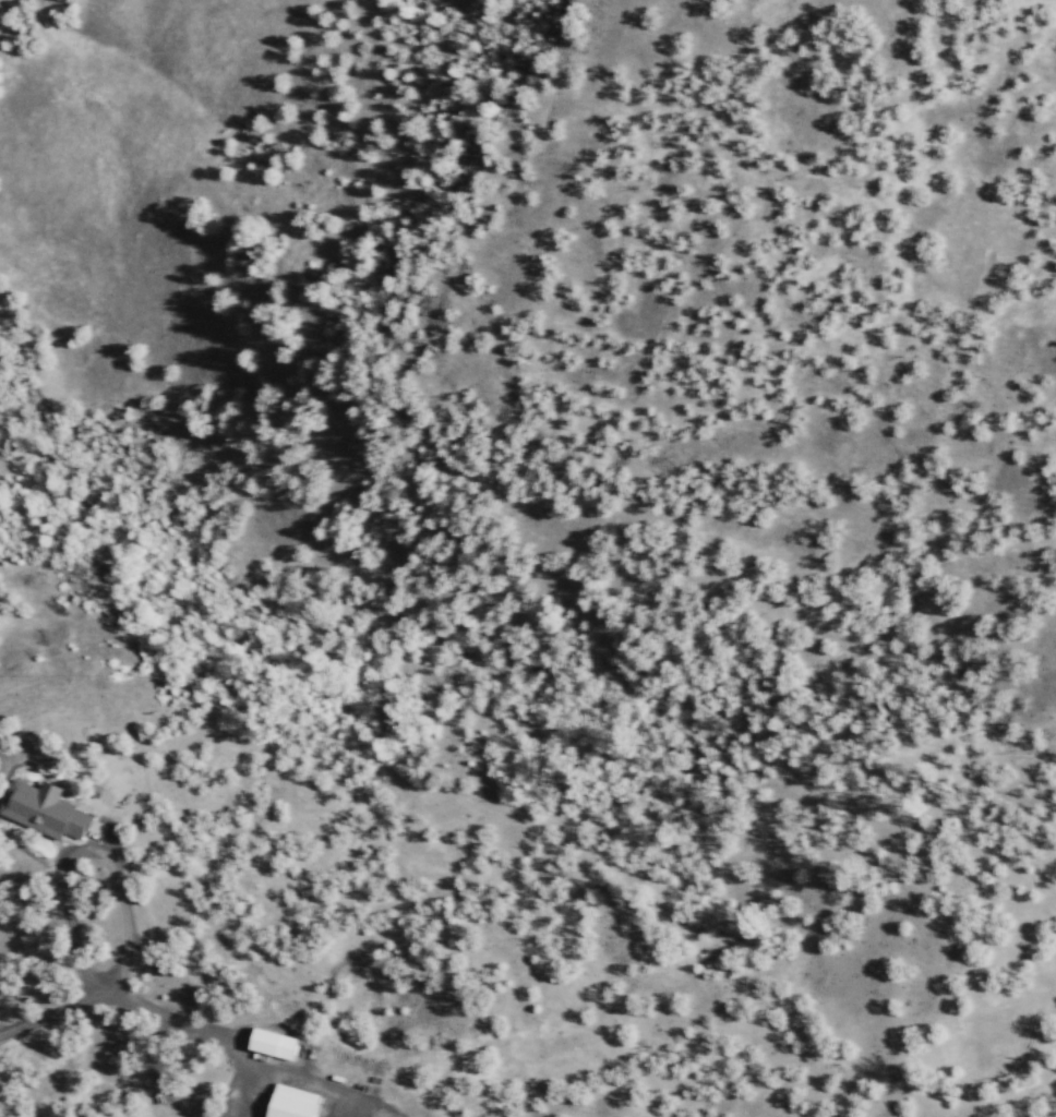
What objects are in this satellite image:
building: (44, 809)
building: (274, 1044)
road: (379, 1102)
building: (292, 1103)

